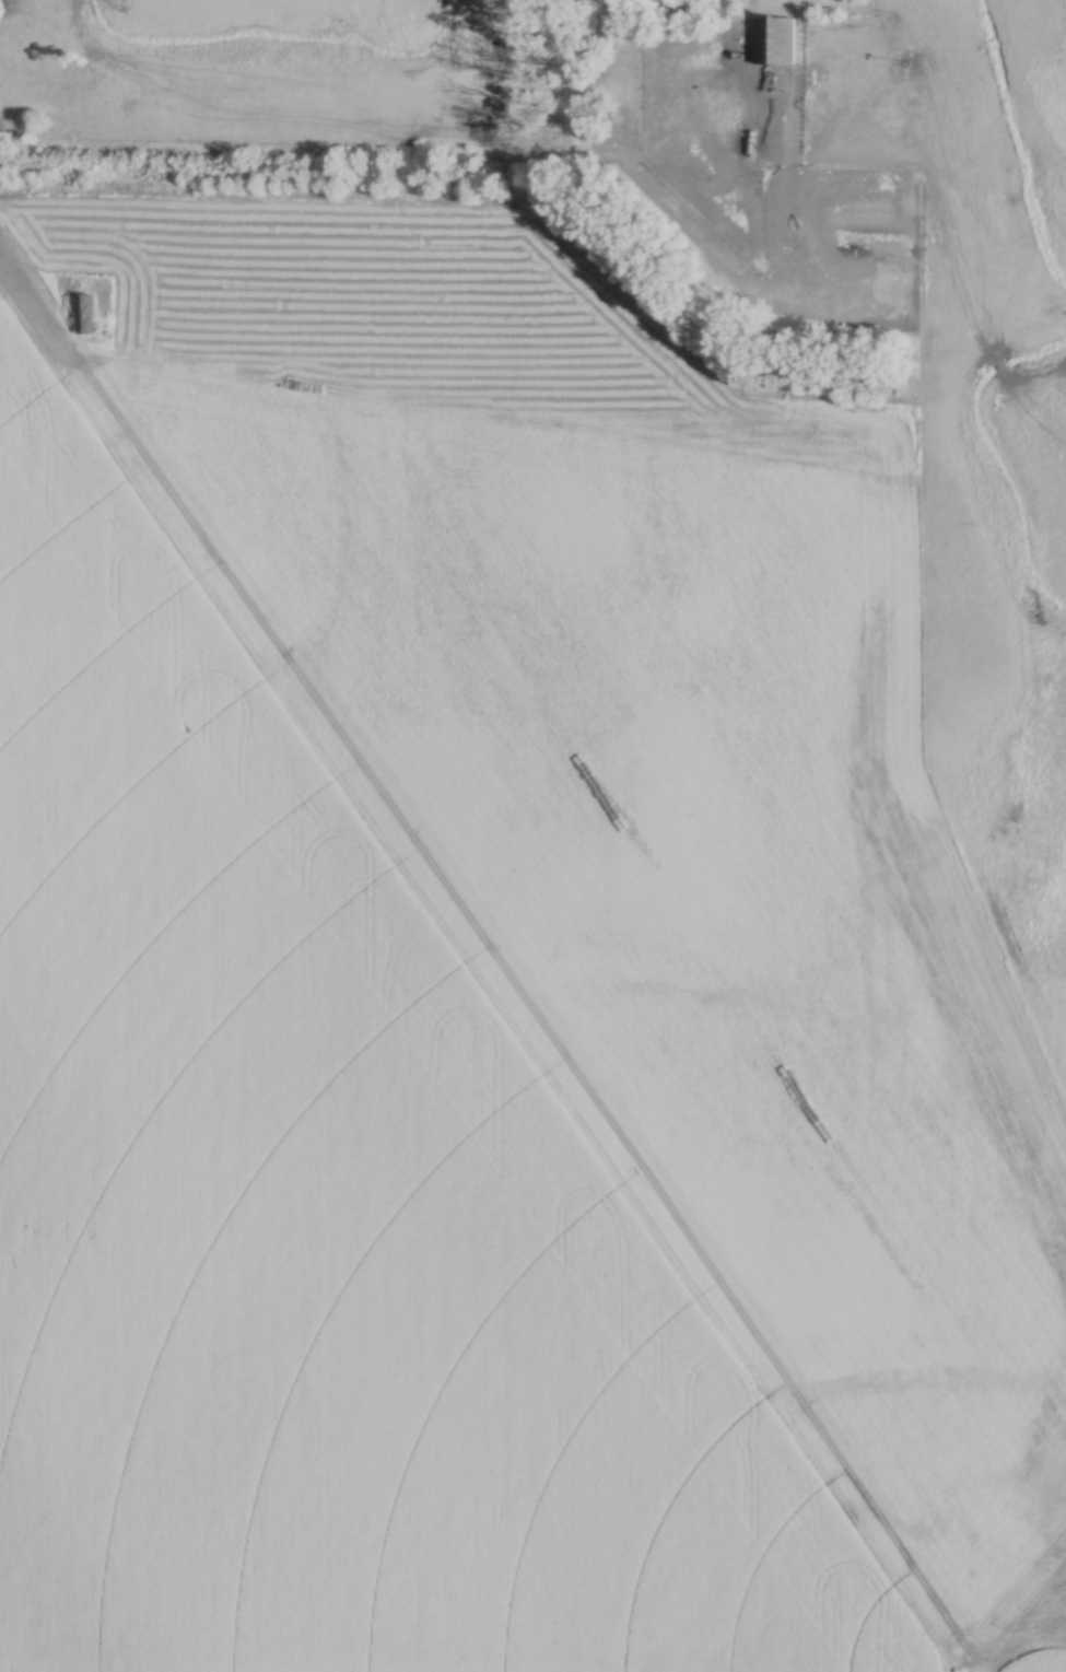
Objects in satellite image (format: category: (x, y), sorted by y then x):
building: (773, 46)
building: (85, 314)
road: (35, 317)

